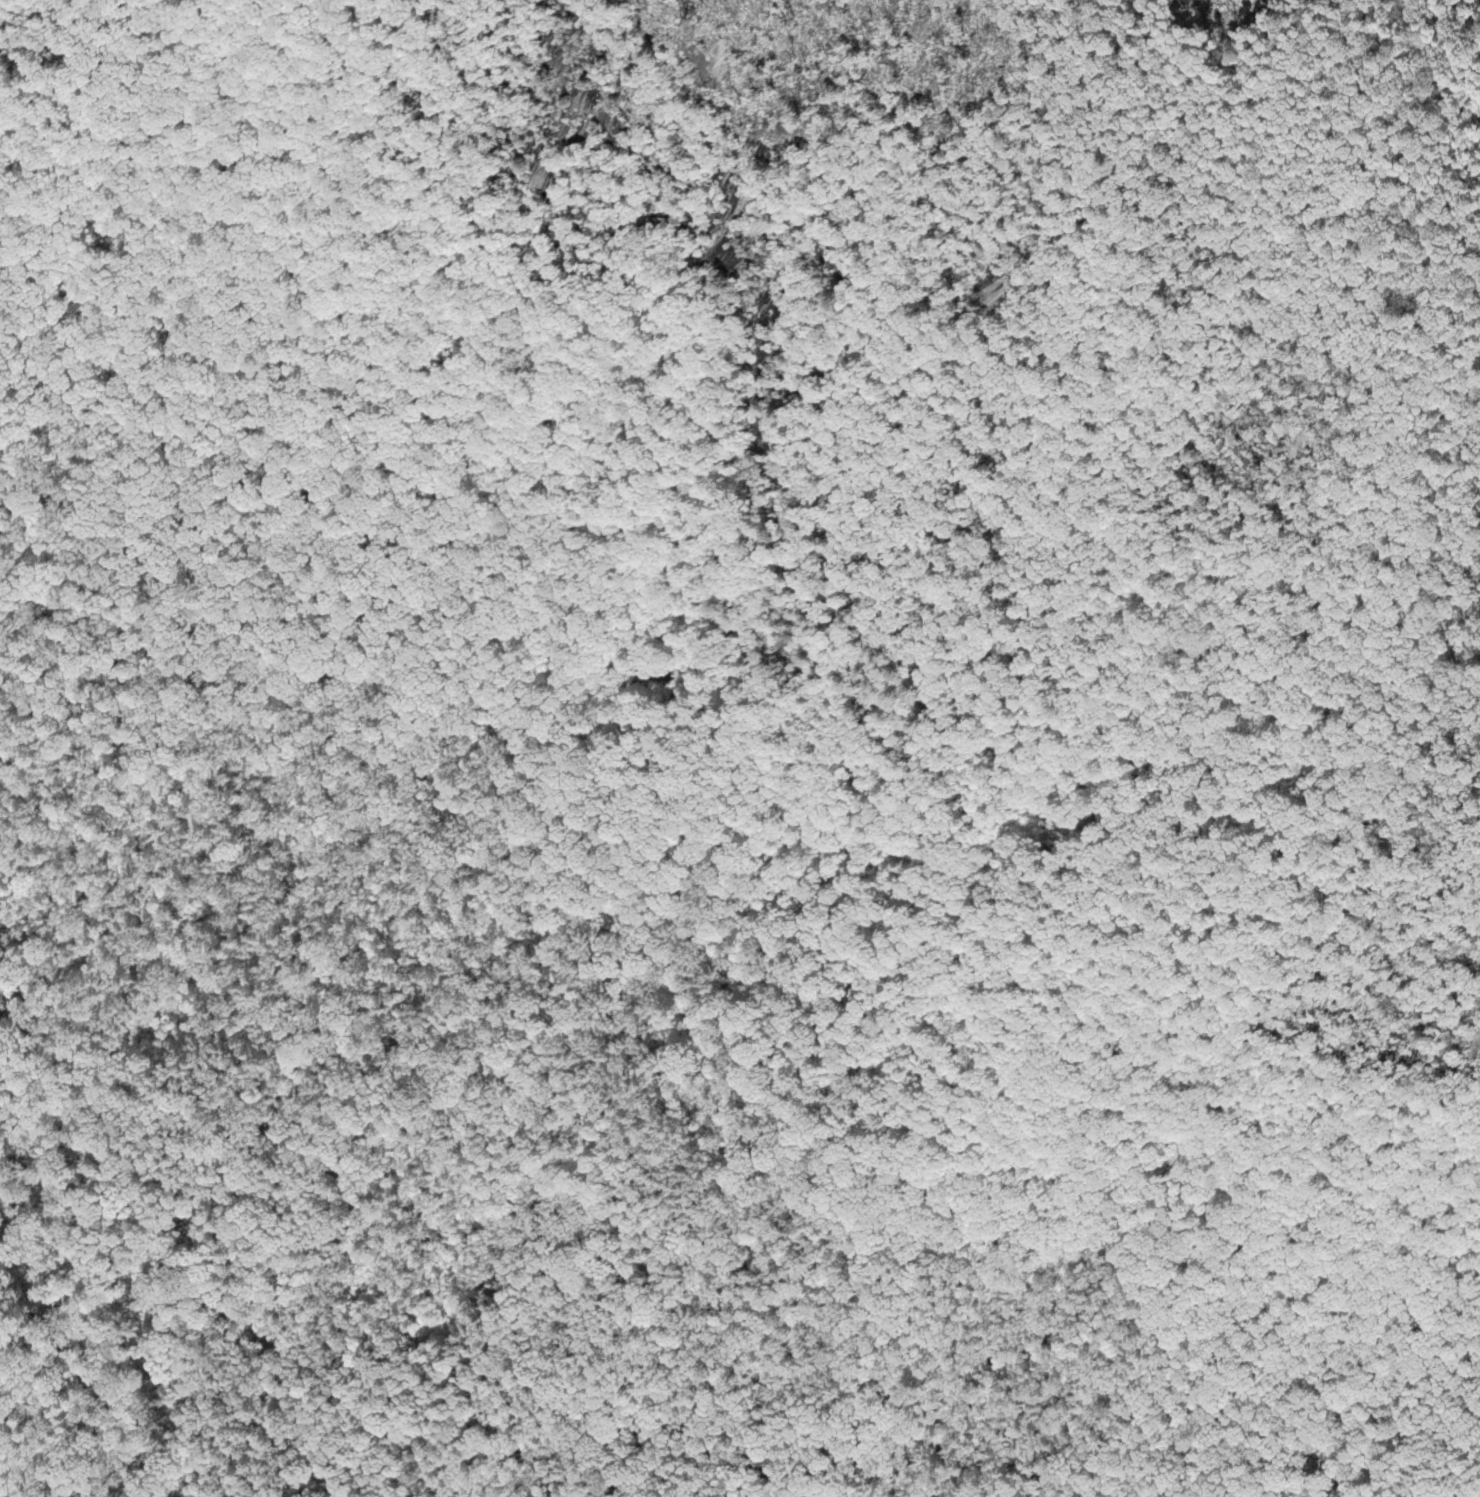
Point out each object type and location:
road: (1288, 8)
road: (1403, 134)

